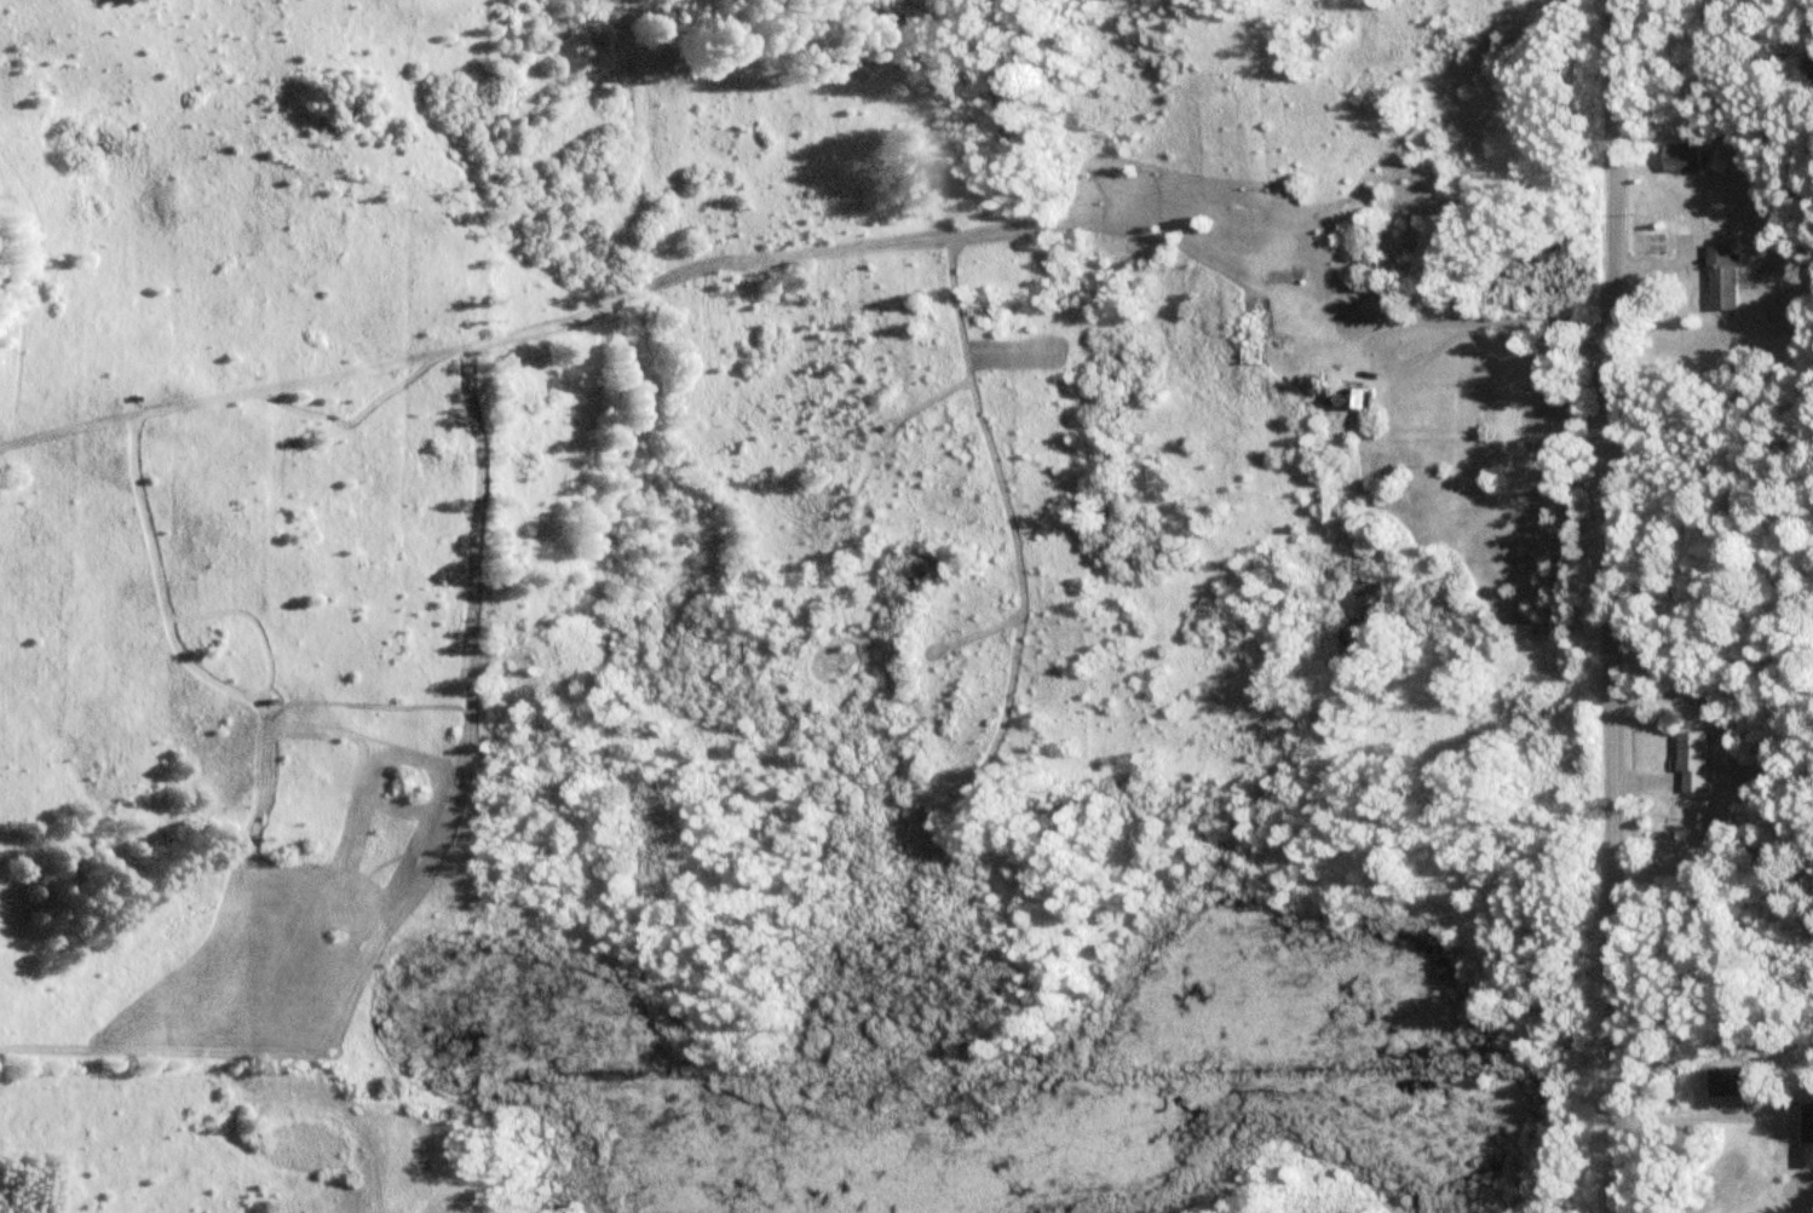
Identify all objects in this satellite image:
building: (1686, 156)
building: (1760, 276)
building: (1728, 277)
building: (1353, 396)
road: (1612, 606)
building: (1700, 759)
building: (1713, 832)
road: (1693, 1123)
building: (1812, 1134)

